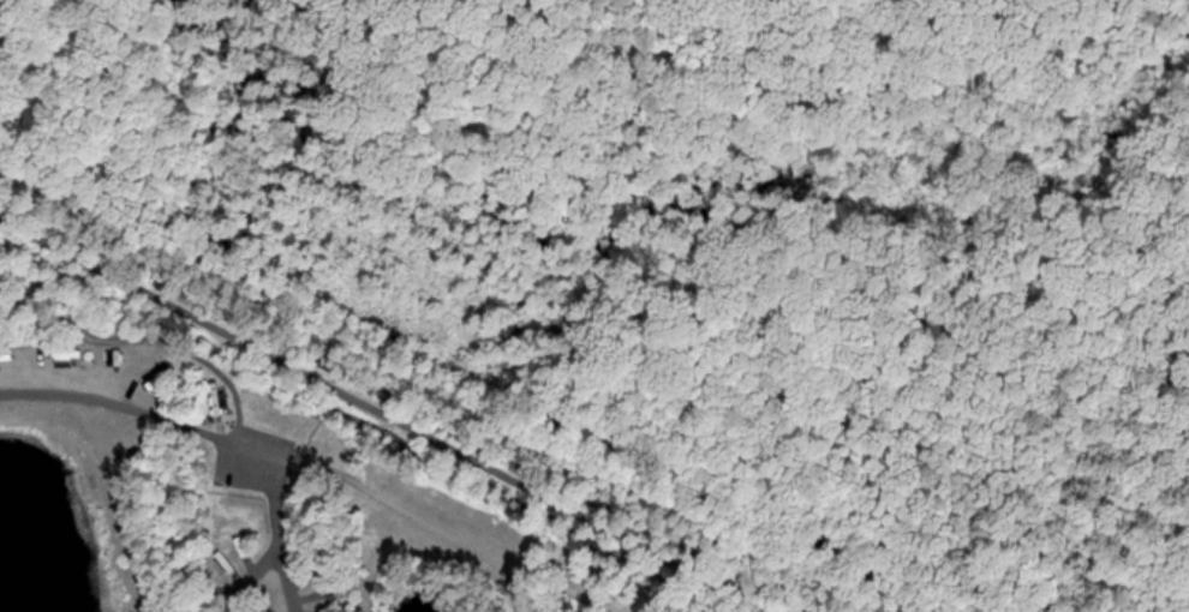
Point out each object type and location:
park: (751, 149)
road: (160, 338)
road: (386, 415)
road: (185, 425)
road: (249, 576)
road: (286, 581)

